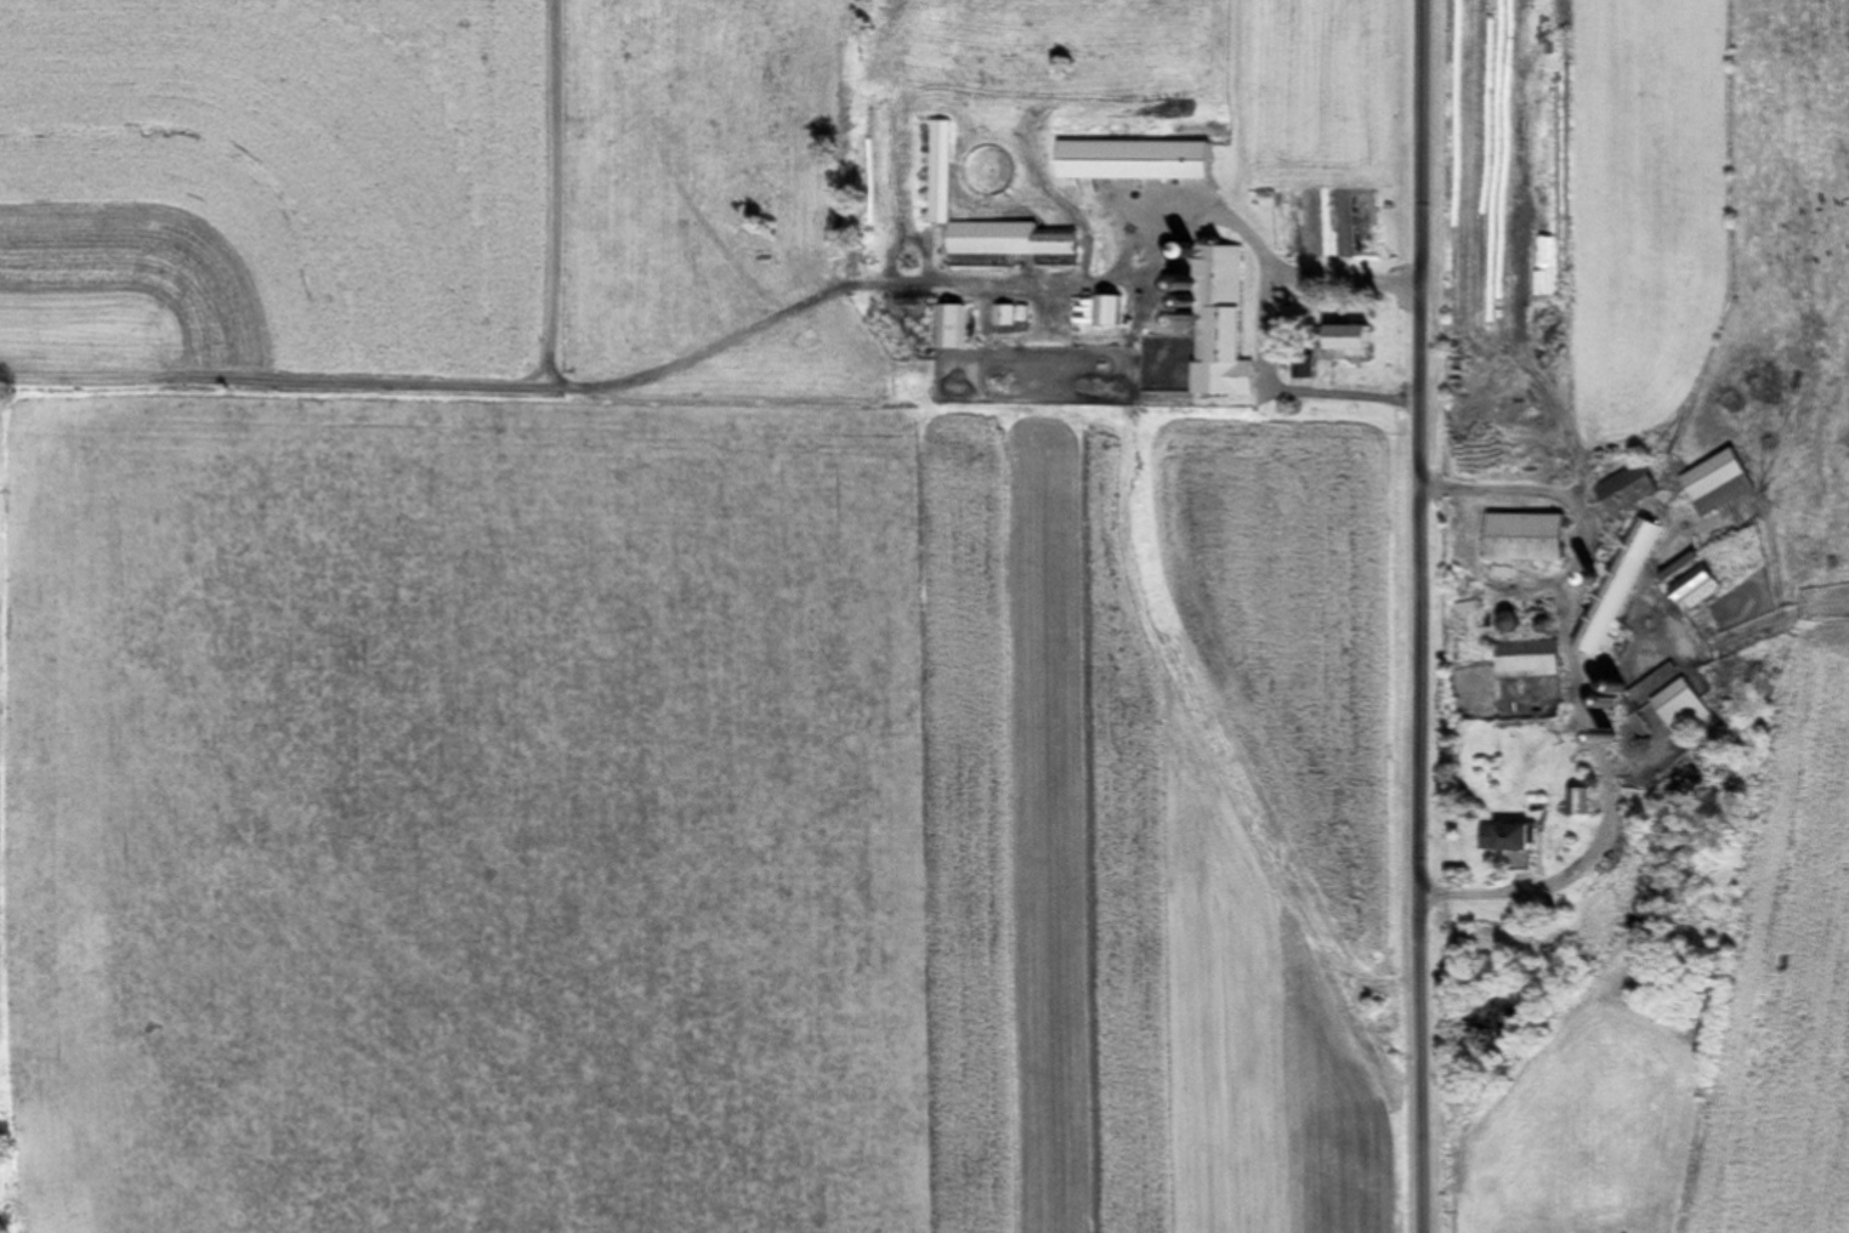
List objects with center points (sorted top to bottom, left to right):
building: (1140, 159)
building: (945, 170)
building: (1113, 311)
building: (1221, 322)
building: (953, 325)
building: (1363, 337)
building: (1723, 482)
building: (1633, 488)
building: (1532, 536)
building: (1618, 586)
building: (1698, 587)
road: (1435, 616)
building: (1532, 659)
building: (1661, 677)
building: (1685, 708)
building: (1581, 801)
building: (1514, 836)

